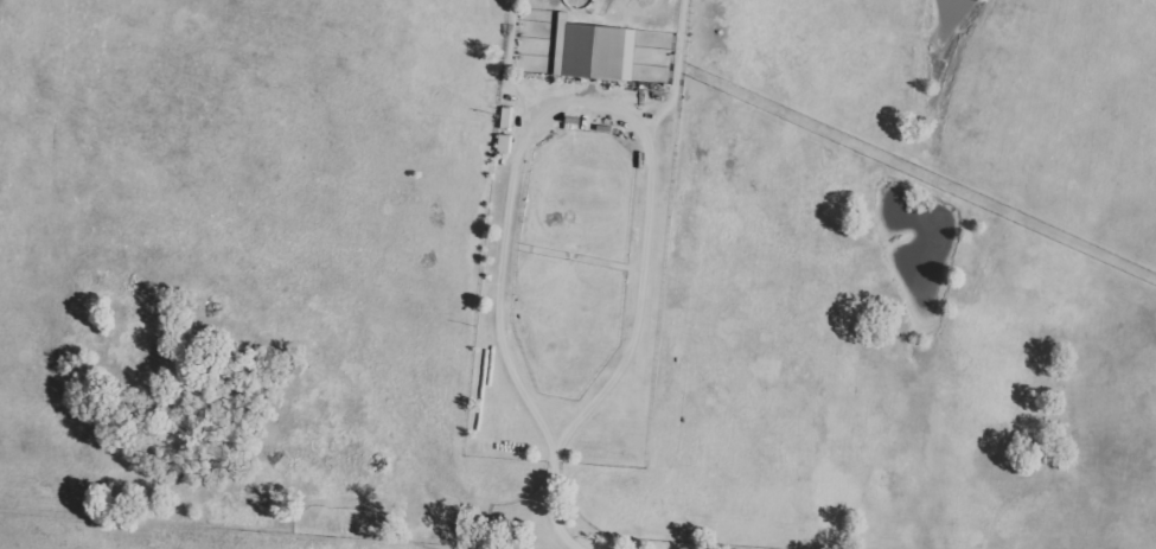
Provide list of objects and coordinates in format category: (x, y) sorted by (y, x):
building: (593, 50)
road: (590, 96)
road: (558, 511)

